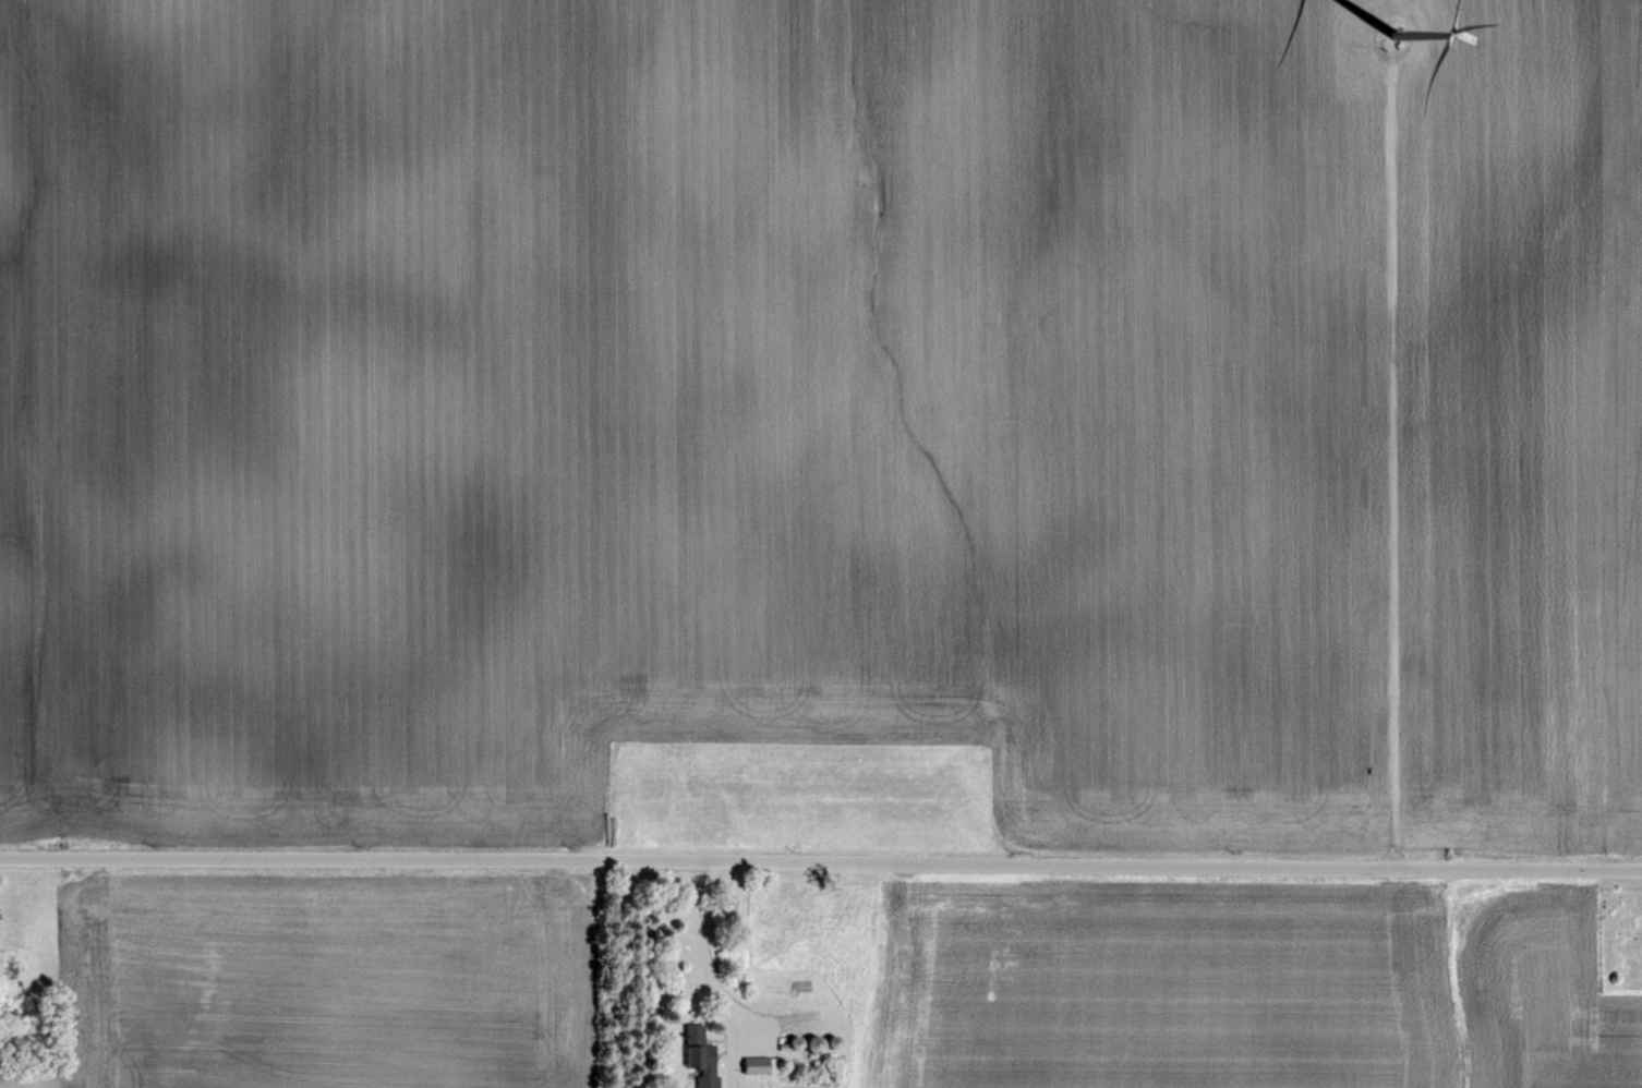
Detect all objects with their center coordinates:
wind turbine: (1396, 37)
road: (821, 859)
park: (1619, 940)
road: (712, 974)

